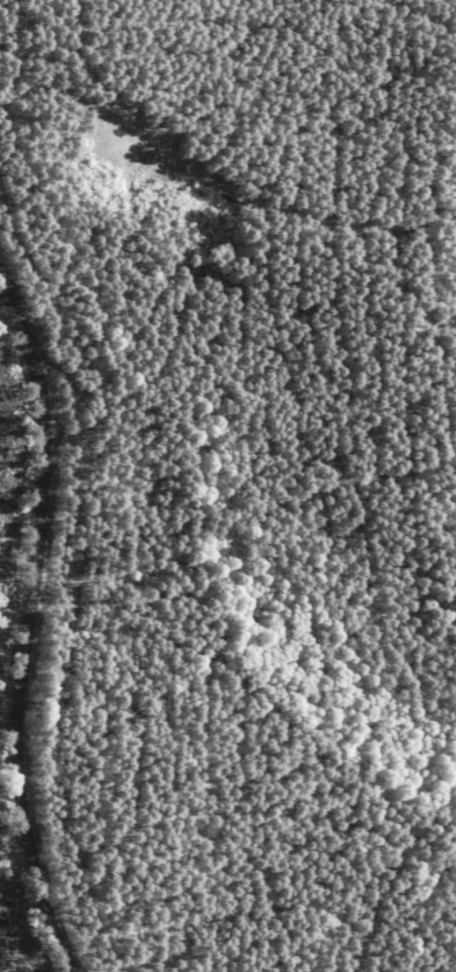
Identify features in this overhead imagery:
road: (34, 580)

